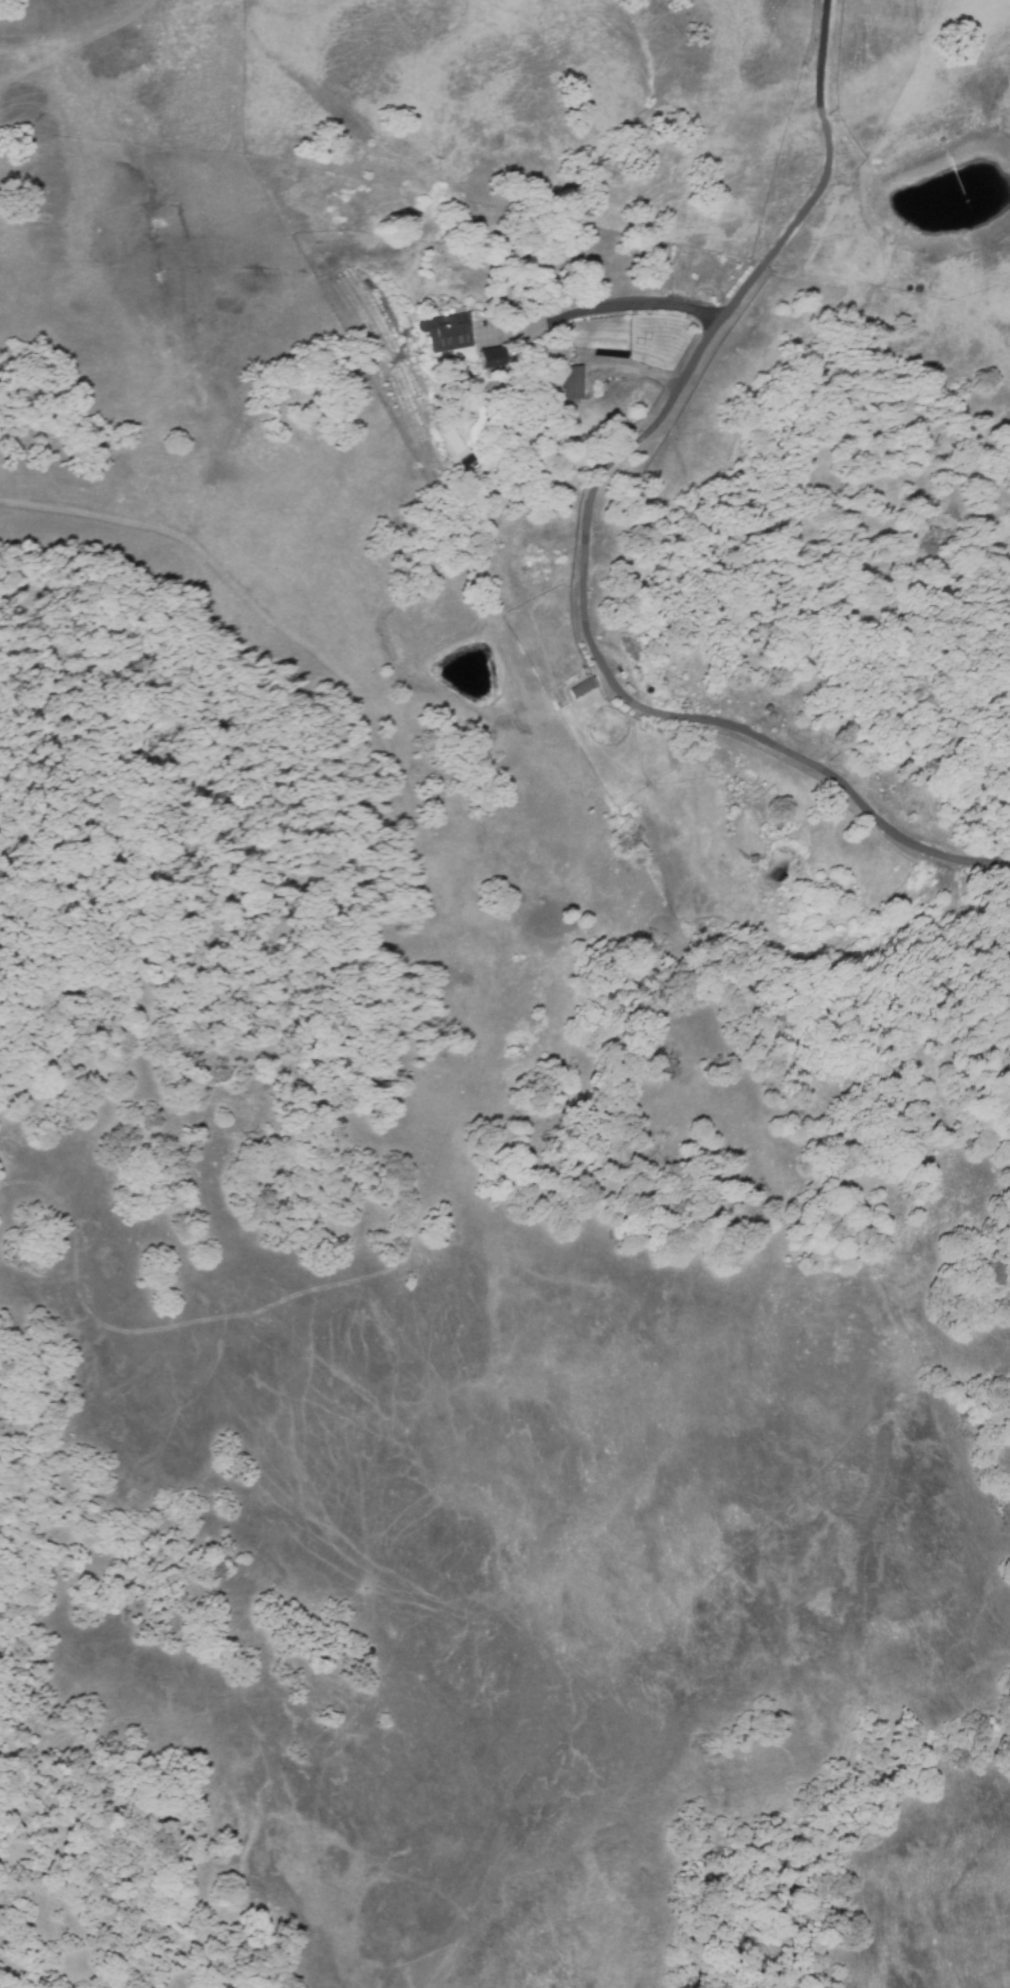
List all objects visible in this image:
road: (598, 309)
building: (445, 333)
building: (487, 358)
road: (631, 370)
building: (574, 384)
building: (473, 460)
road: (587, 529)
building: (580, 687)

